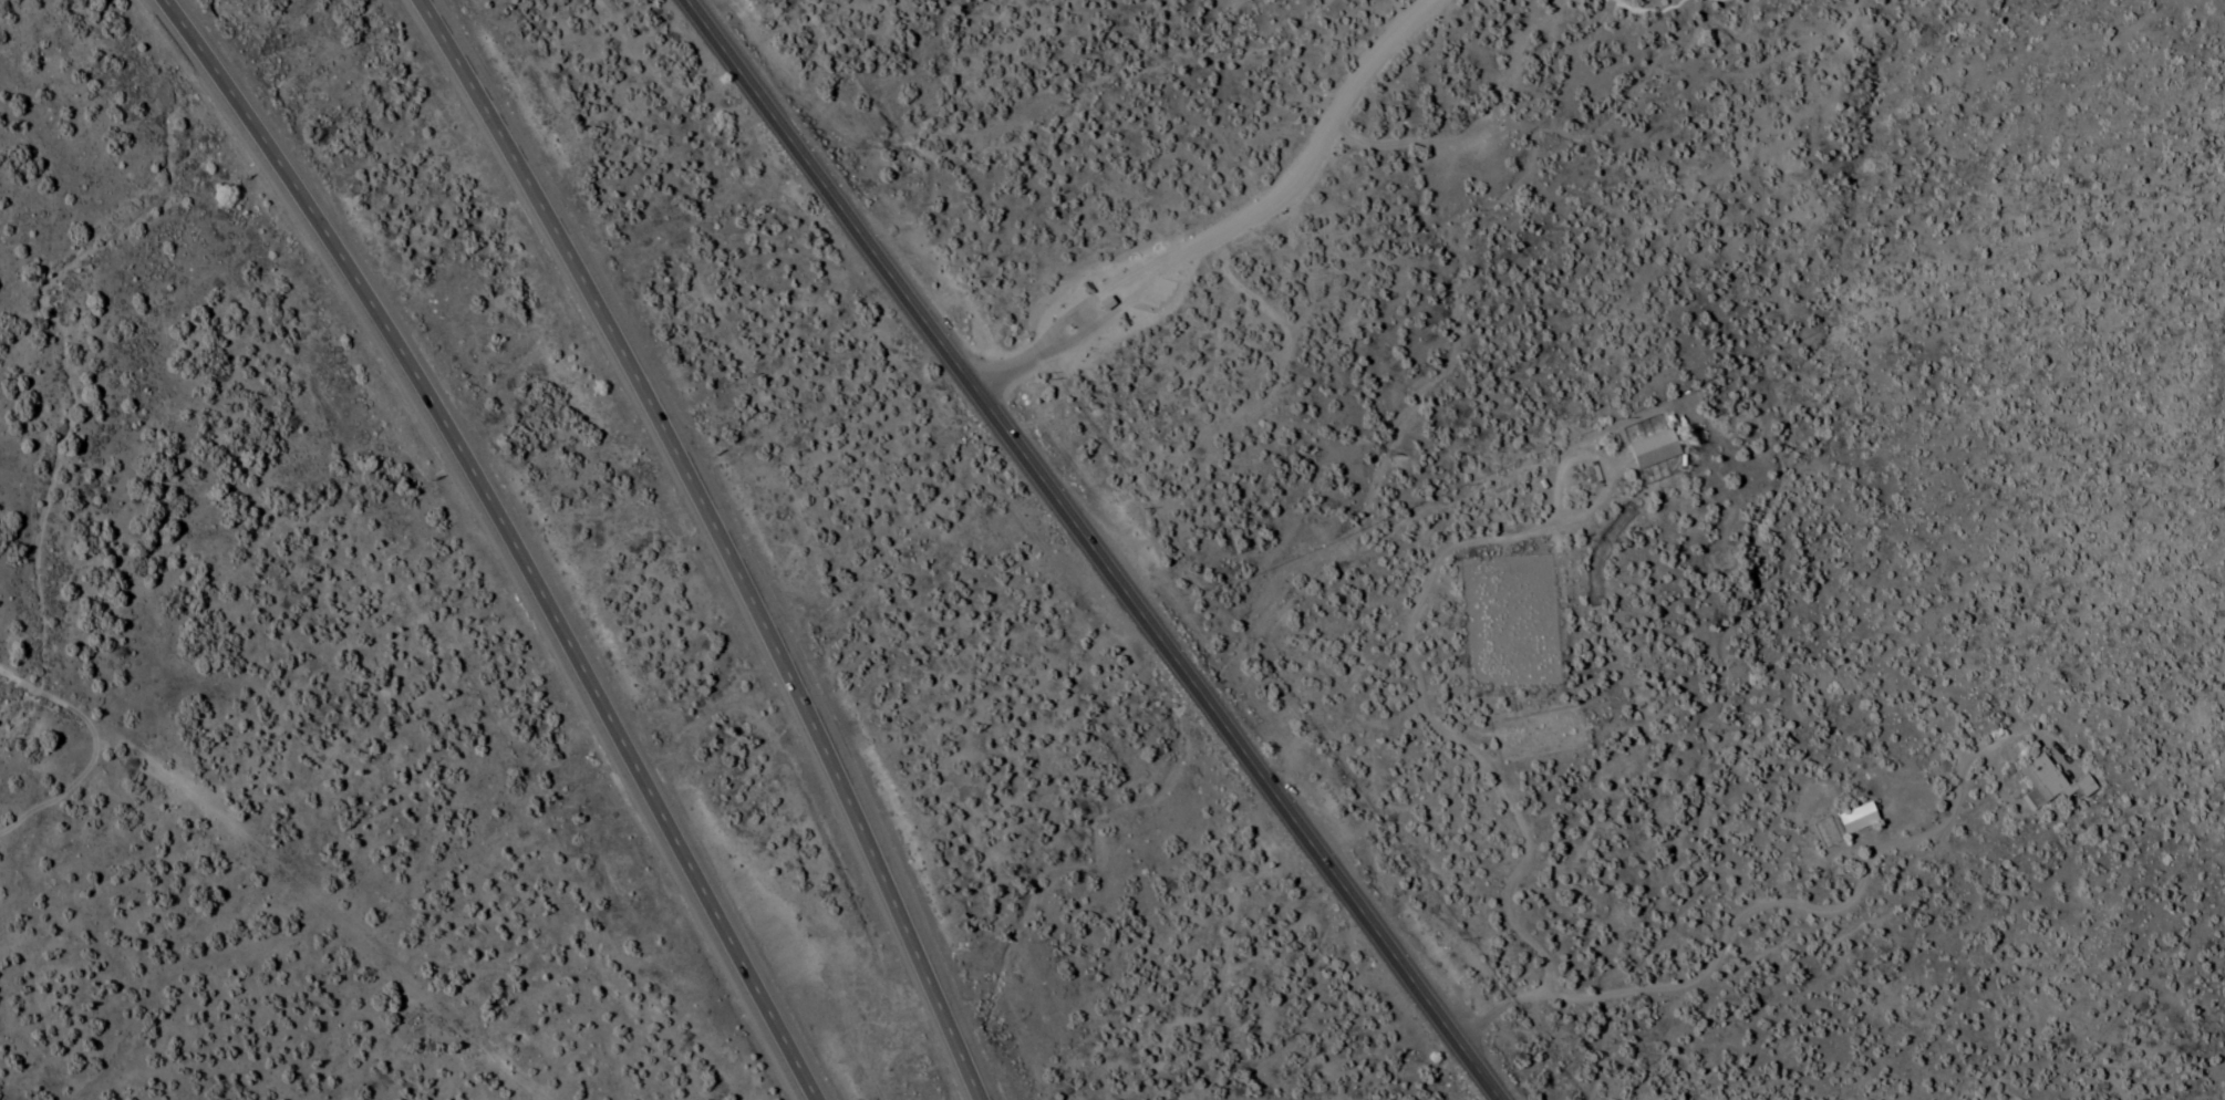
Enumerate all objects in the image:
road: (1231, 222)
toll booth: (1103, 288)
building: (1646, 448)
road: (720, 540)
road: (476, 541)
road: (1090, 549)
road: (1698, 733)
building: (2046, 780)
building: (1851, 819)
road: (241, 879)

